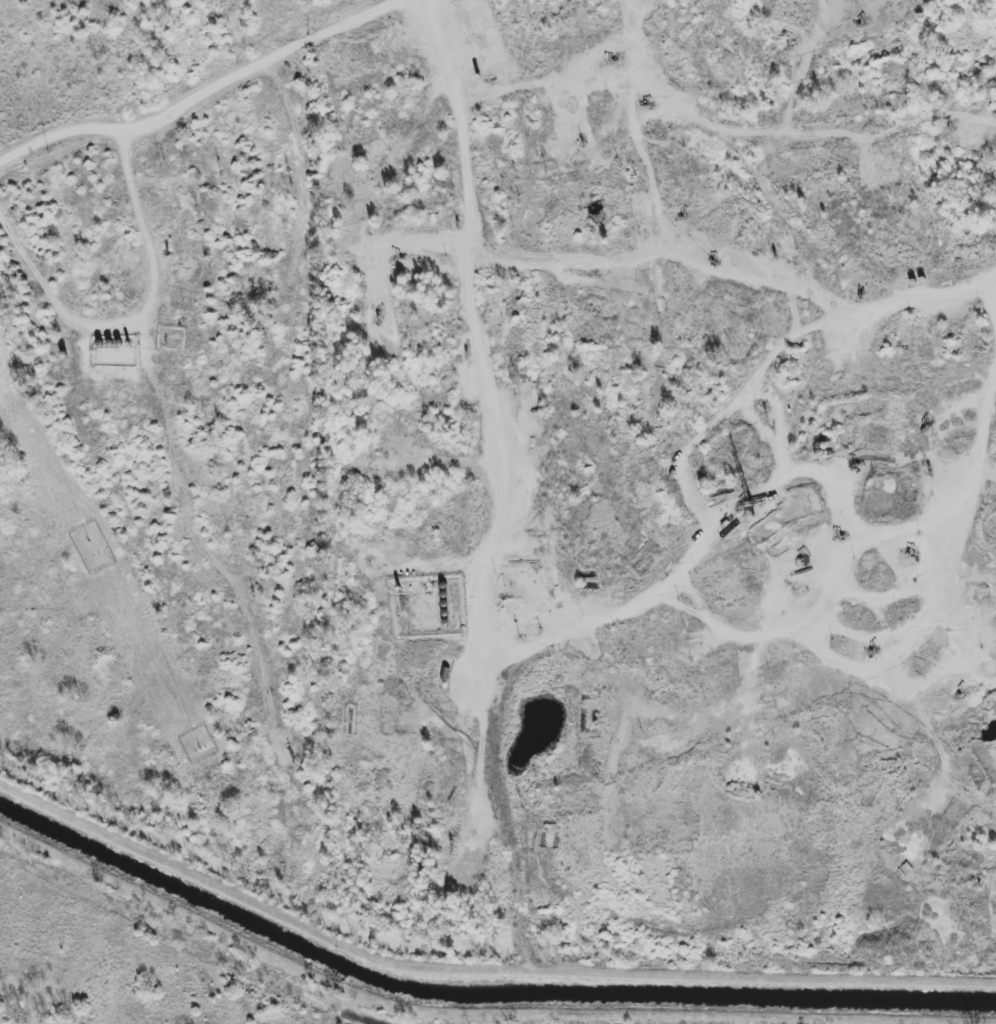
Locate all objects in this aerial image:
road: (202, 90)
road: (471, 223)
road: (912, 296)
road: (135, 311)

